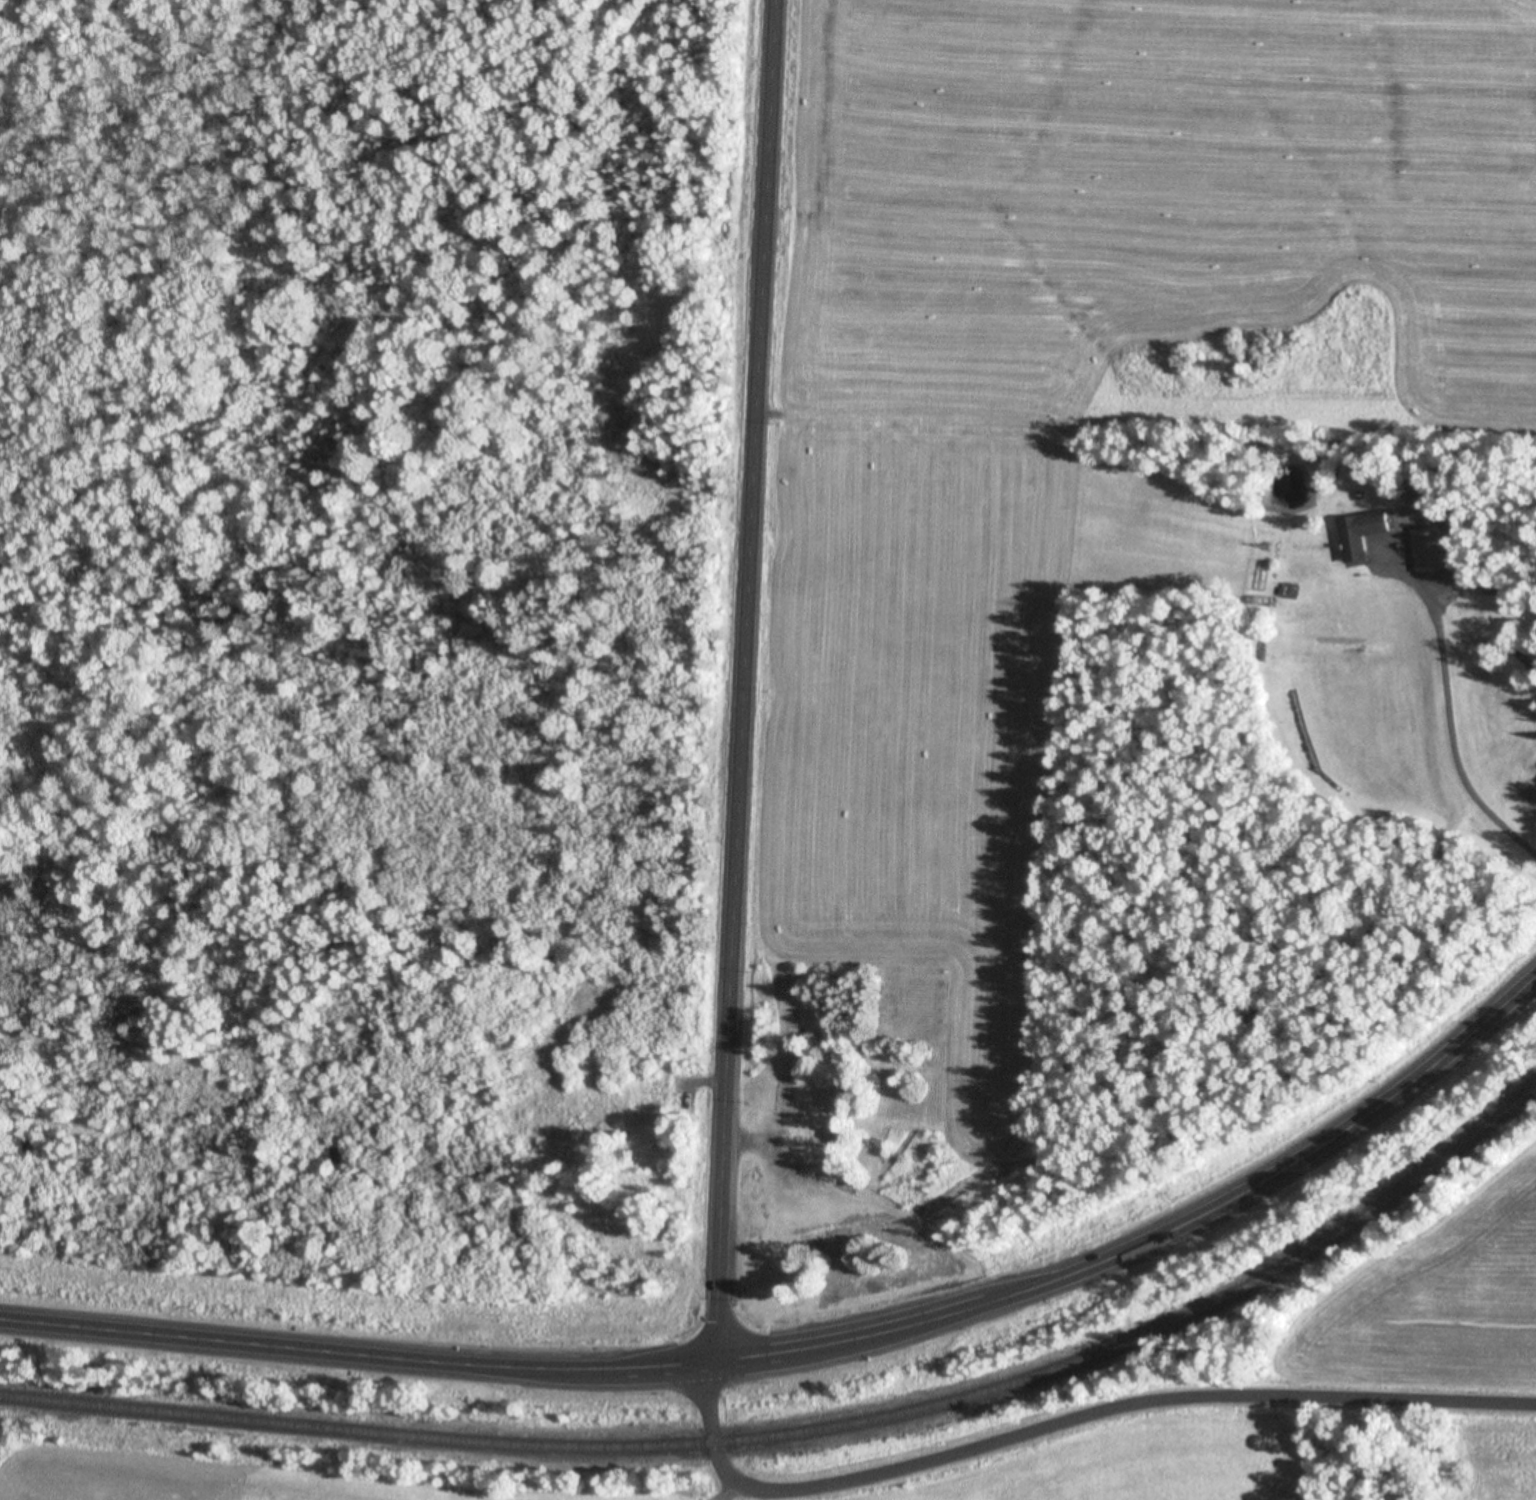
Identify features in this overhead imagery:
building: (1363, 535)
building: (1429, 552)
road: (747, 681)
road: (816, 1347)
road: (1068, 1422)
railway: (809, 1431)

